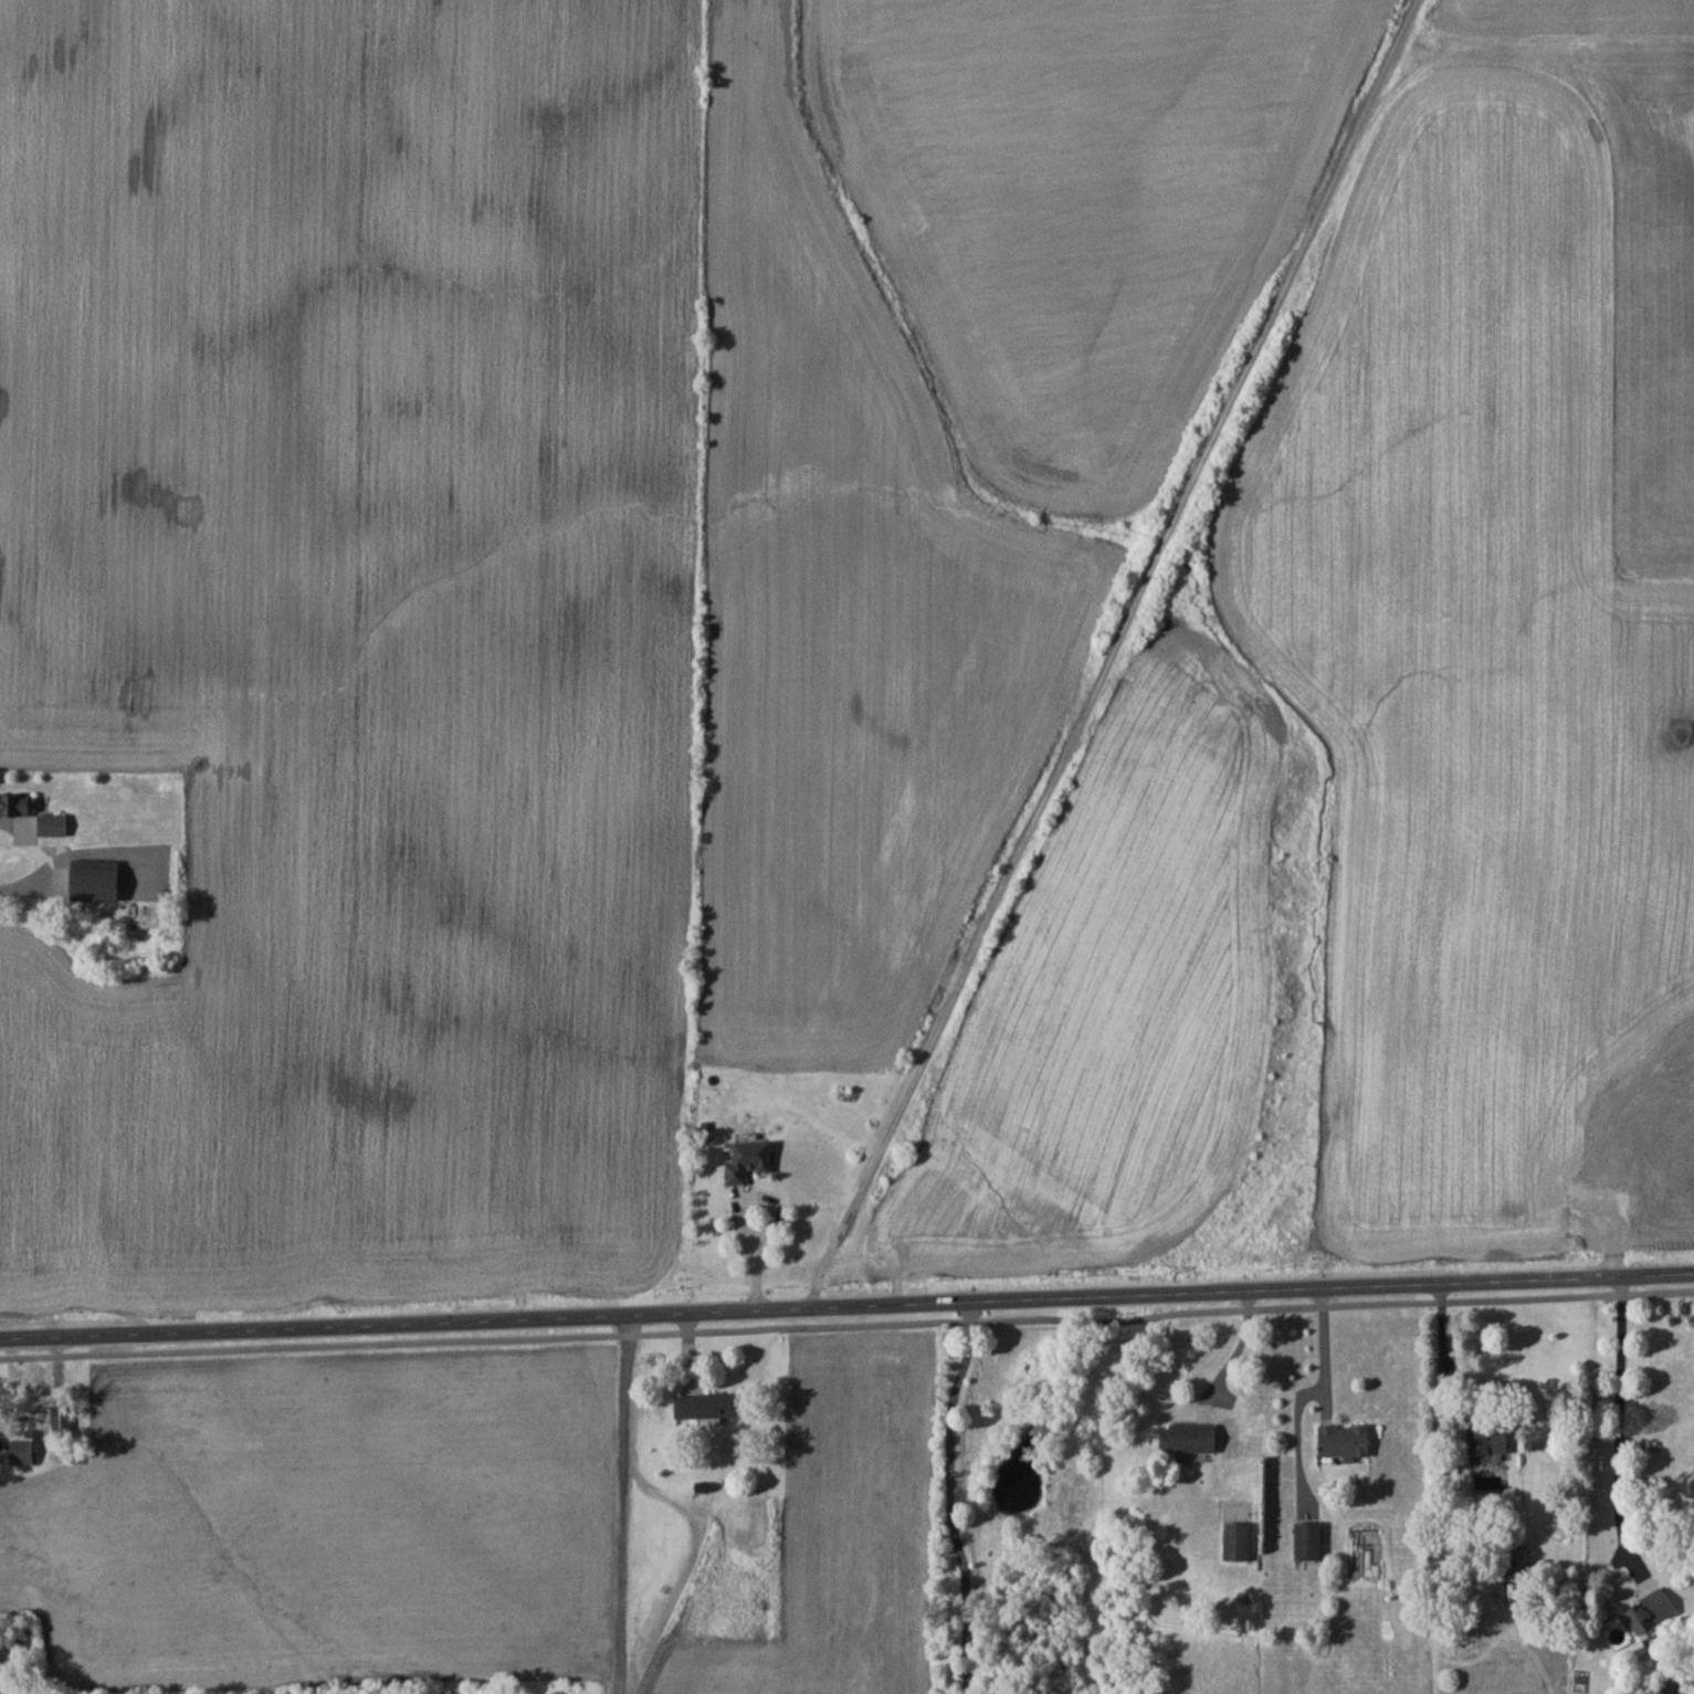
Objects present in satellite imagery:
building: (17, 804)
building: (52, 824)
road: (49, 843)
building: (95, 881)
building: (748, 1160)
road: (736, 1212)
road: (846, 1304)
road: (846, 1325)
road: (1440, 1335)
road: (1235, 1347)
road: (1325, 1347)
building: (706, 1407)
road: (1618, 1422)
building: (1188, 1439)
building: (1344, 1441)
building: (1487, 1445)
building: (22, 1449)
road: (949, 1494)
building: (1308, 1542)
building: (1237, 1543)
building: (1517, 1566)
building: (1651, 1612)

